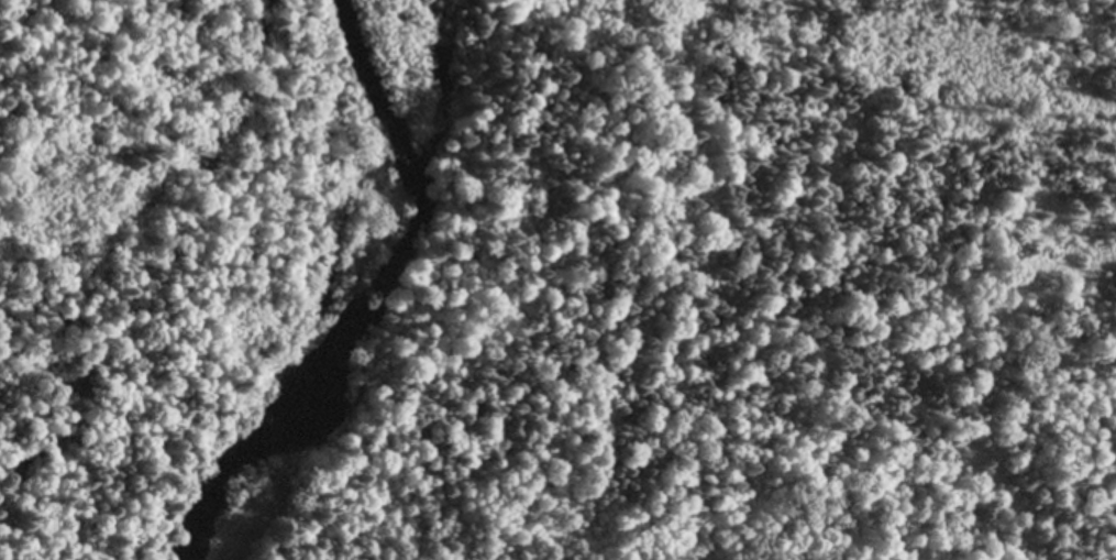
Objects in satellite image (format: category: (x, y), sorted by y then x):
river: (380, 298)

